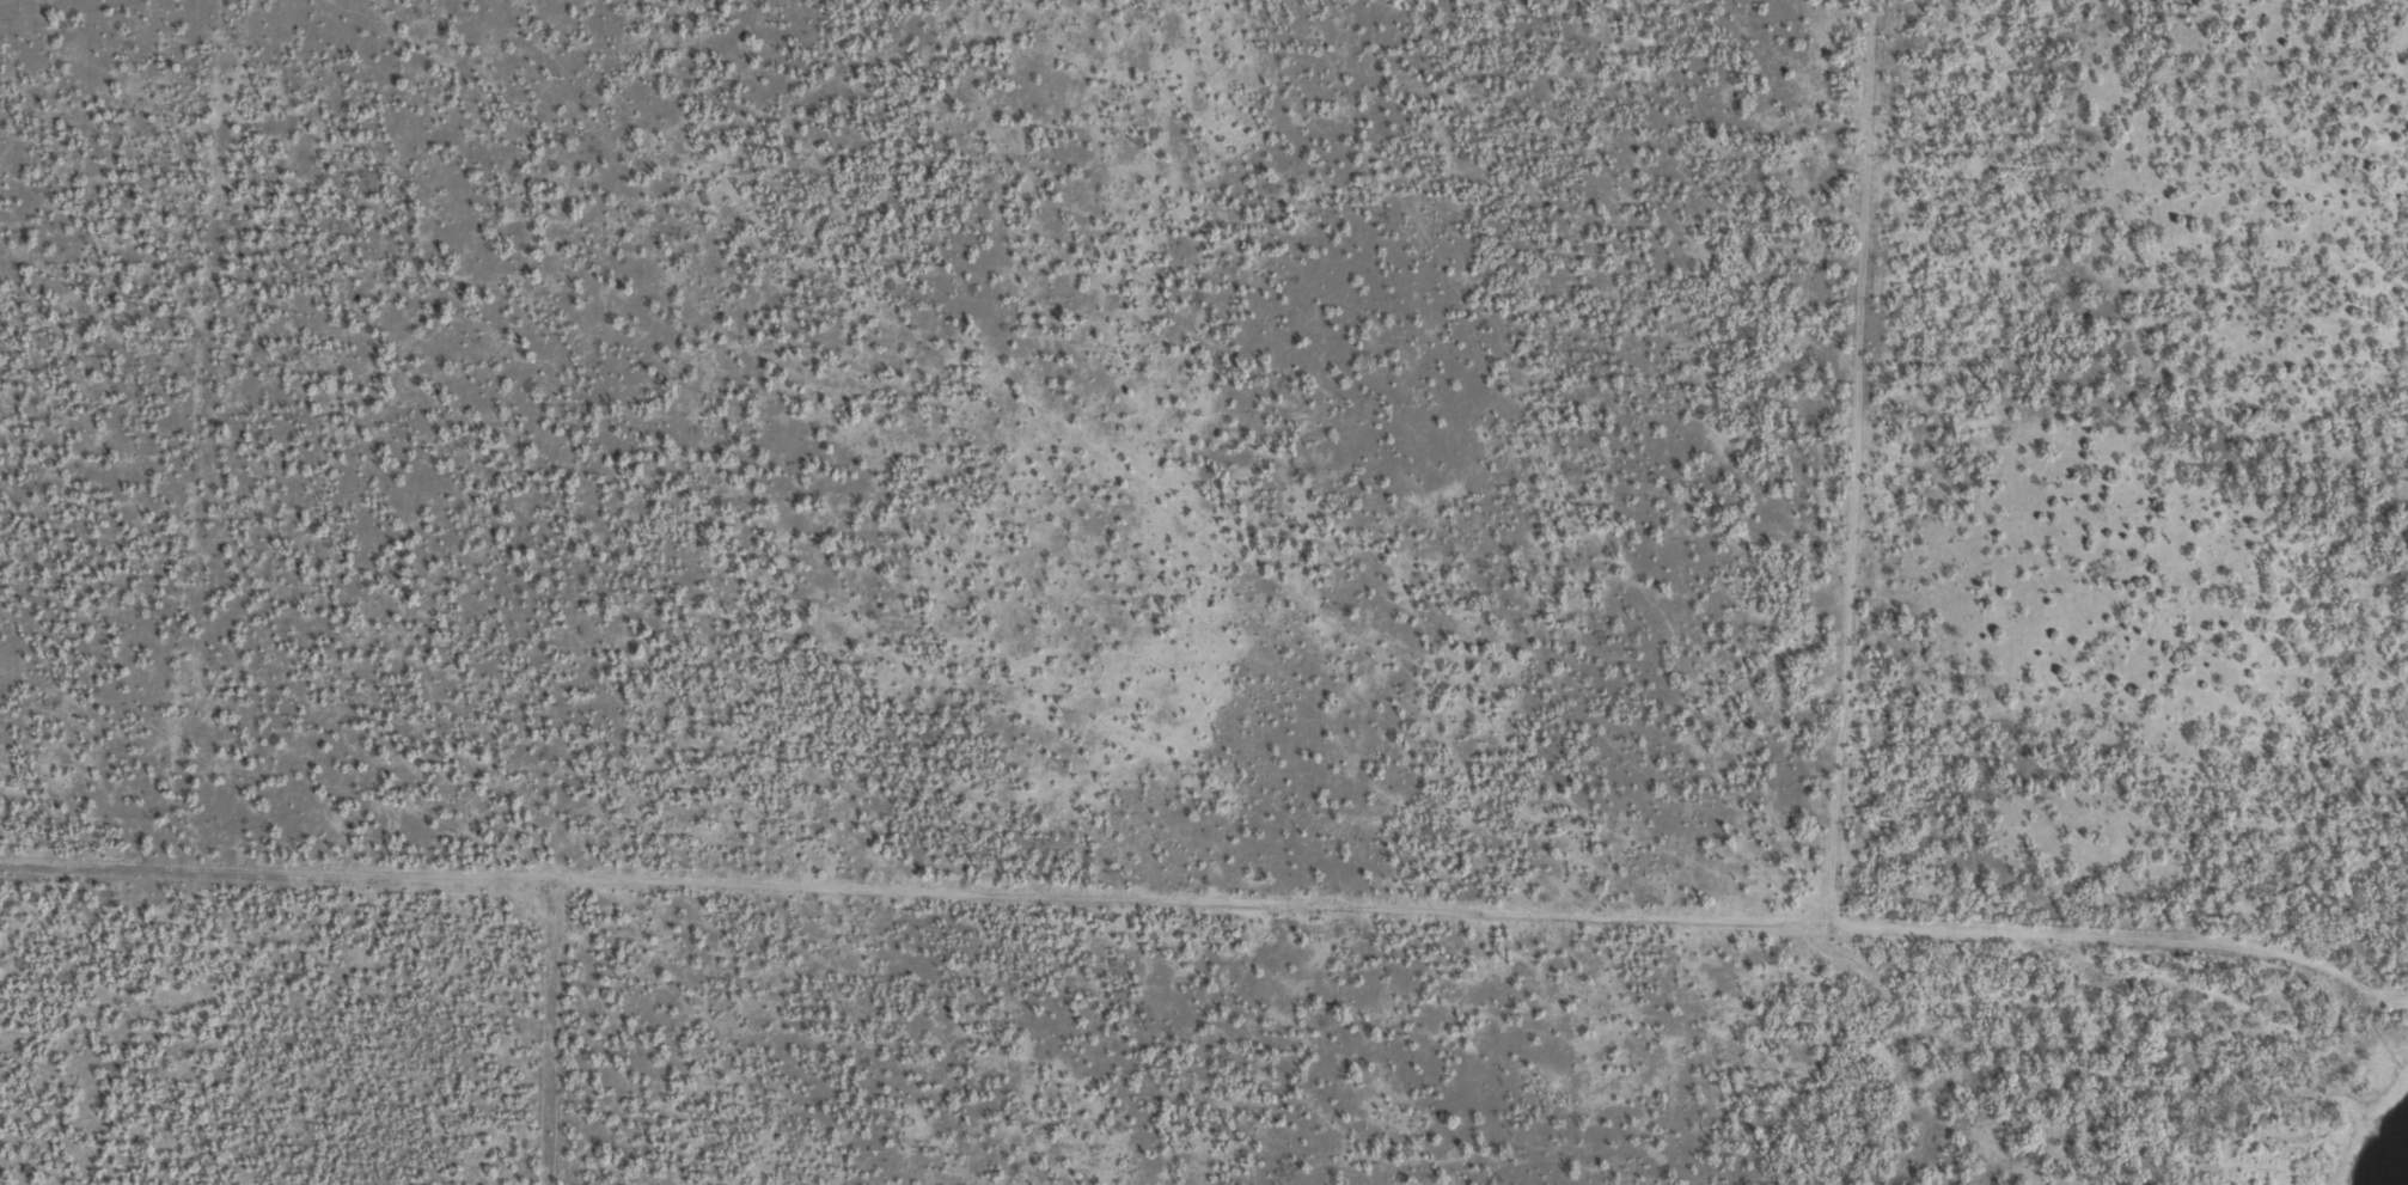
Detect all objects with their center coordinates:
road: (1826, 735)

